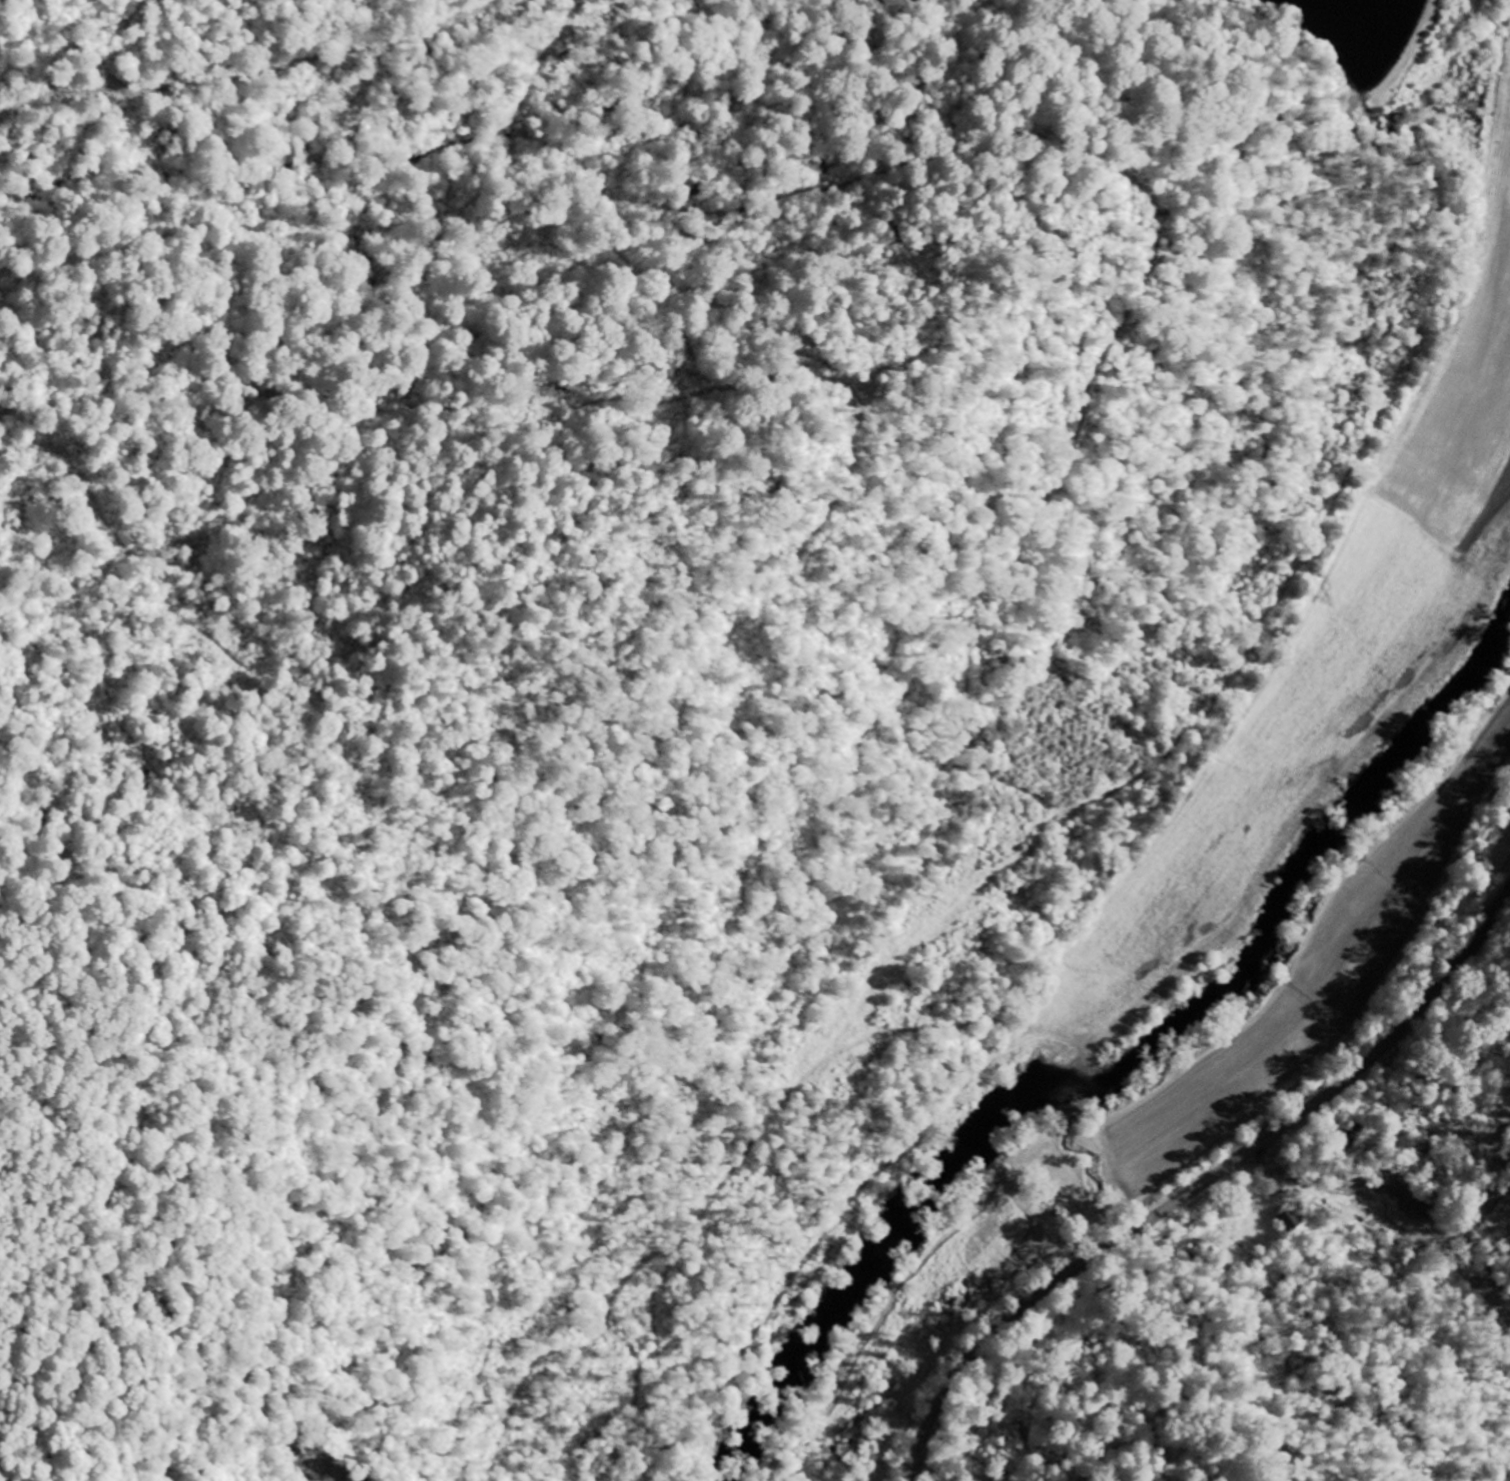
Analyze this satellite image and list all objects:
road: (1204, 1183)
building: (1292, 1221)

